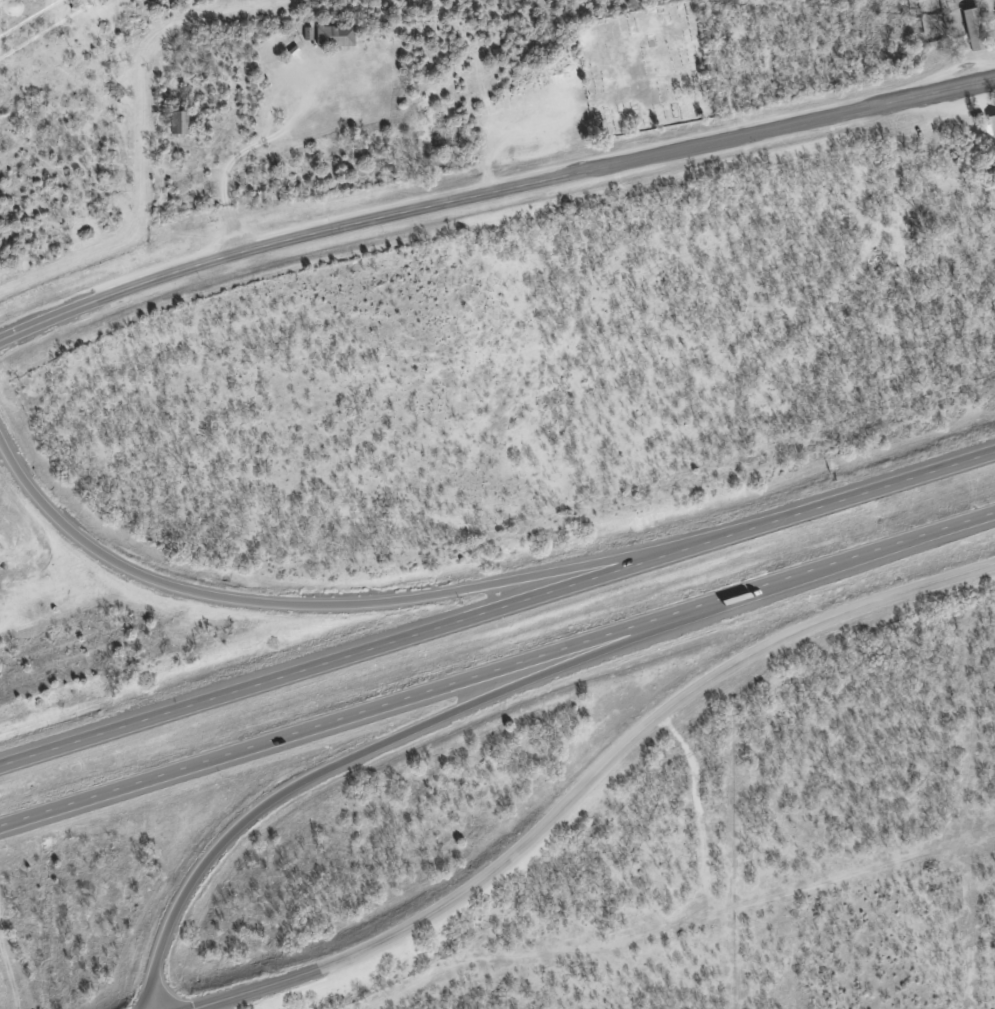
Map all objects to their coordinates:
power tower: (82, 1)
road: (2, 20)
building: (973, 22)
building: (336, 36)
park: (643, 70)
building: (182, 122)
building: (990, 131)
road: (491, 190)
road: (496, 601)
road: (295, 610)
road: (496, 669)
road: (413, 725)
road: (587, 786)

